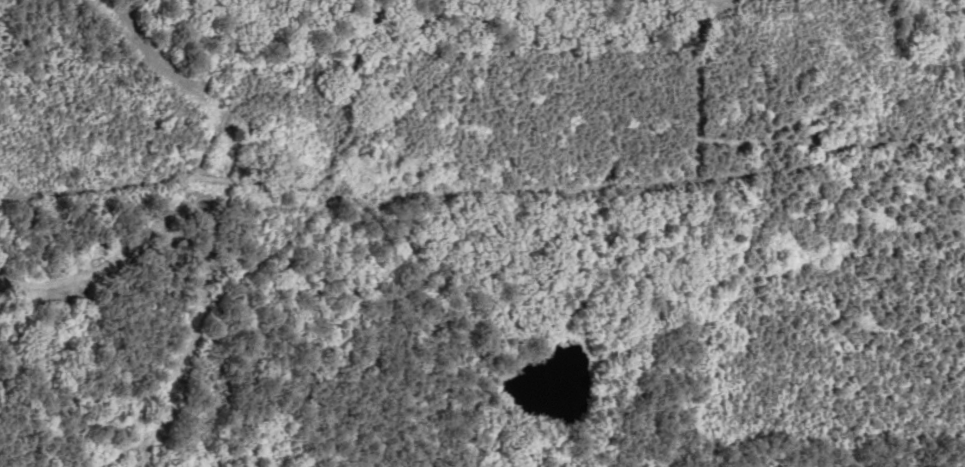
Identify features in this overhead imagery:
road: (43, 264)
road: (377, 420)

